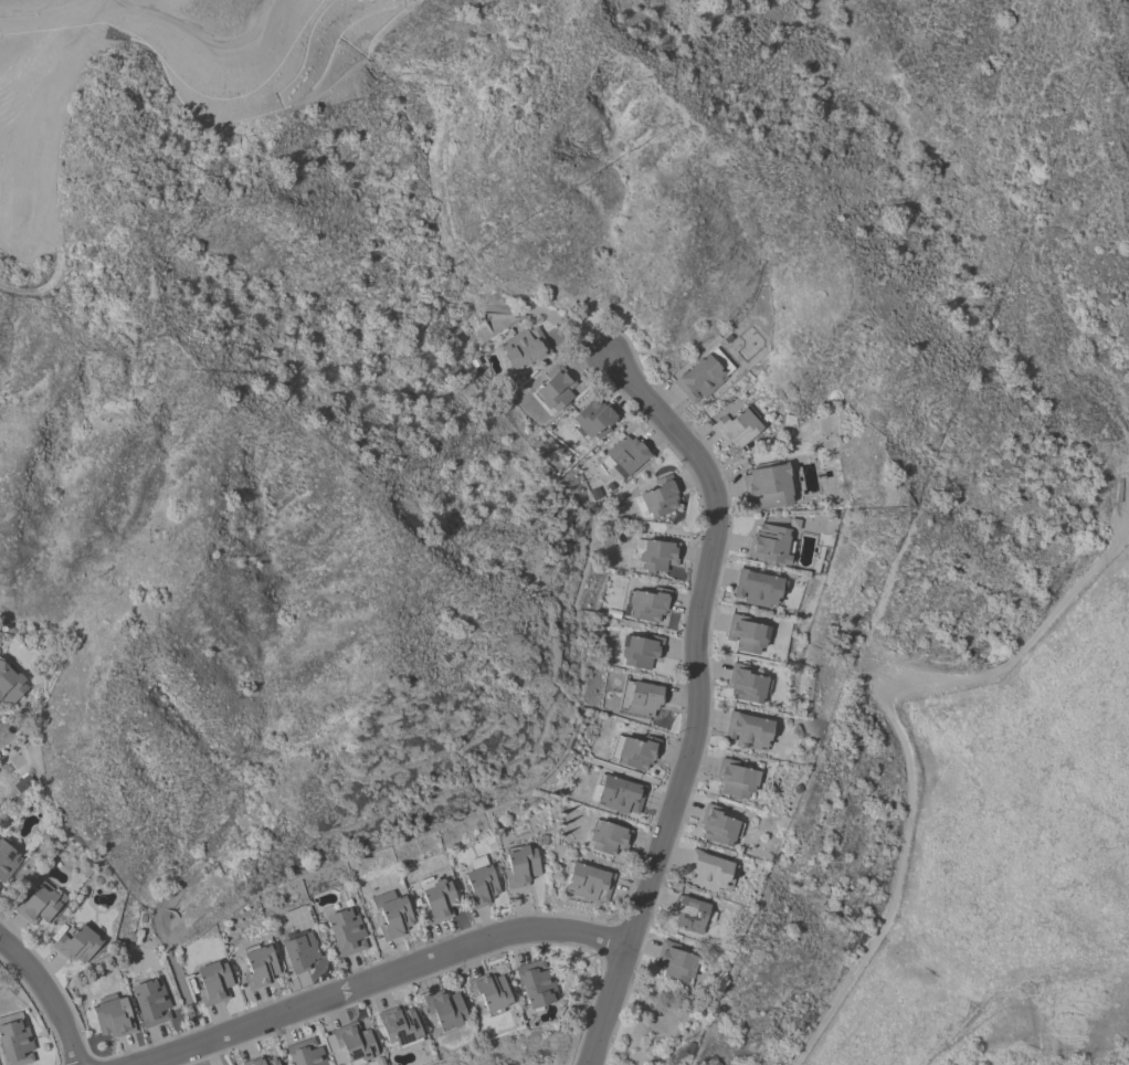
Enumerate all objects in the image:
building: (523, 348)
building: (699, 378)
building: (553, 388)
building: (592, 419)
building: (737, 426)
building: (626, 454)
building: (769, 484)
building: (656, 498)
building: (770, 544)
building: (656, 553)
building: (758, 588)
building: (648, 603)
building: (746, 633)
building: (641, 650)
building: (10, 683)
building: (747, 684)
building: (641, 697)
road: (697, 700)
building: (747, 730)
road: (903, 739)
building: (634, 751)
building: (735, 779)
building: (22, 781)
building: (618, 794)
building: (718, 825)
building: (606, 837)
building: (7, 858)
building: (520, 865)
building: (709, 871)
building: (479, 882)
building: (587, 882)
building: (436, 899)
building: (39, 904)
building: (692, 913)
building: (391, 915)
building: (346, 931)
building: (77, 942)
building: (299, 950)
building: (674, 961)
building: (258, 966)
road: (374, 979)
building: (212, 982)
building: (535, 983)
building: (489, 992)
road: (46, 998)
building: (150, 1002)
building: (444, 1009)
building: (112, 1019)
building: (399, 1026)
building: (14, 1040)
building: (348, 1043)
building: (305, 1053)
road: (796, 1057)
building: (260, 1061)

